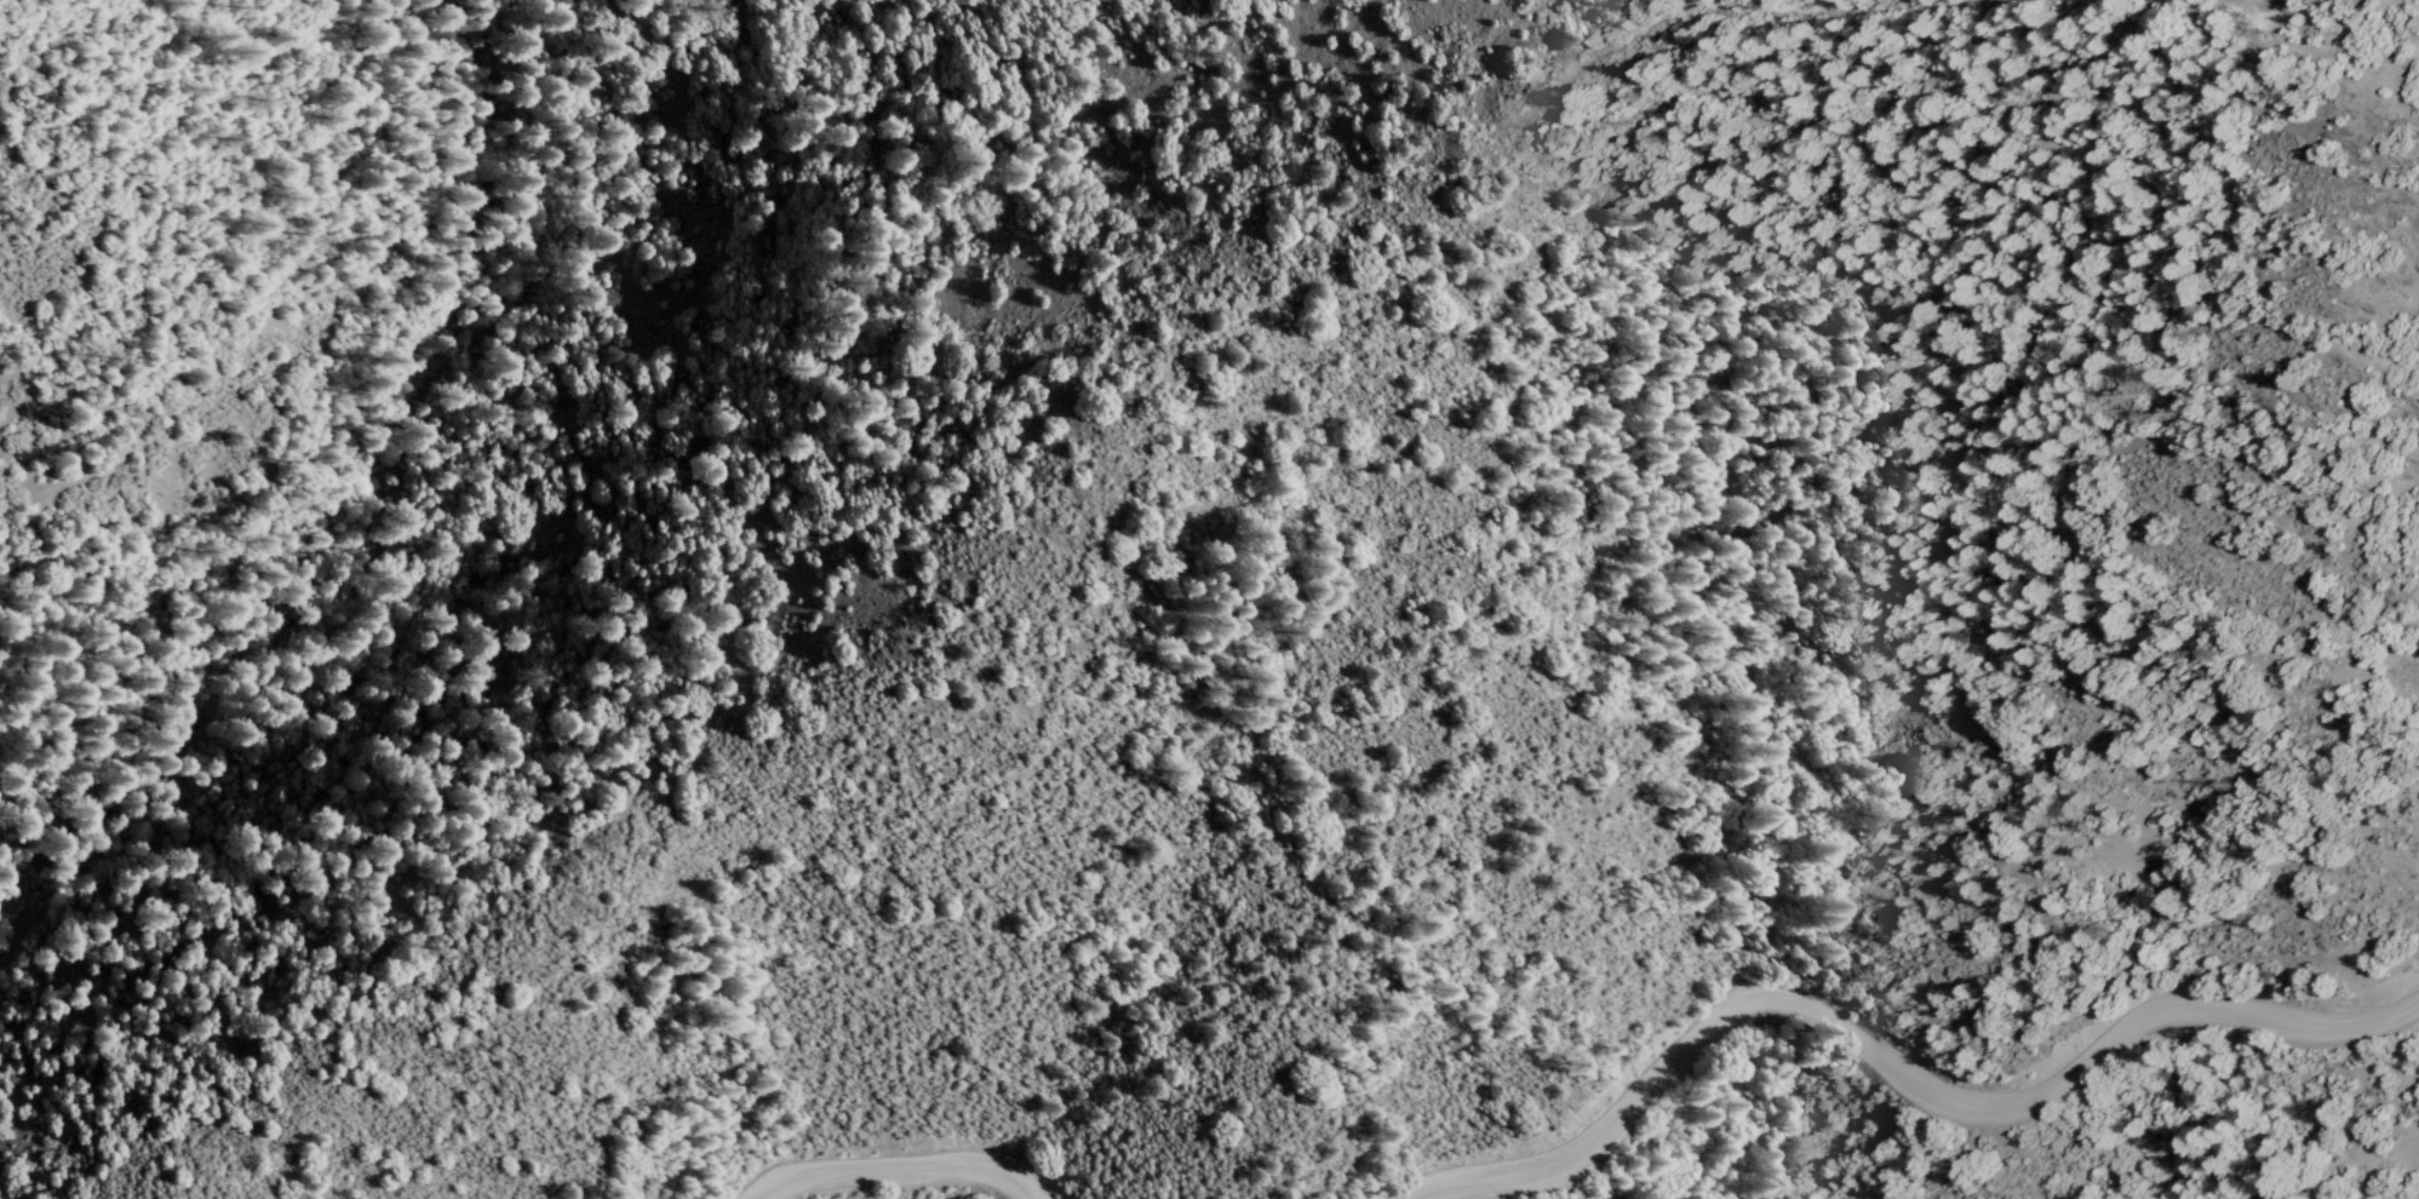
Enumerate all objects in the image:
road: (1915, 1095)
road: (888, 1178)

